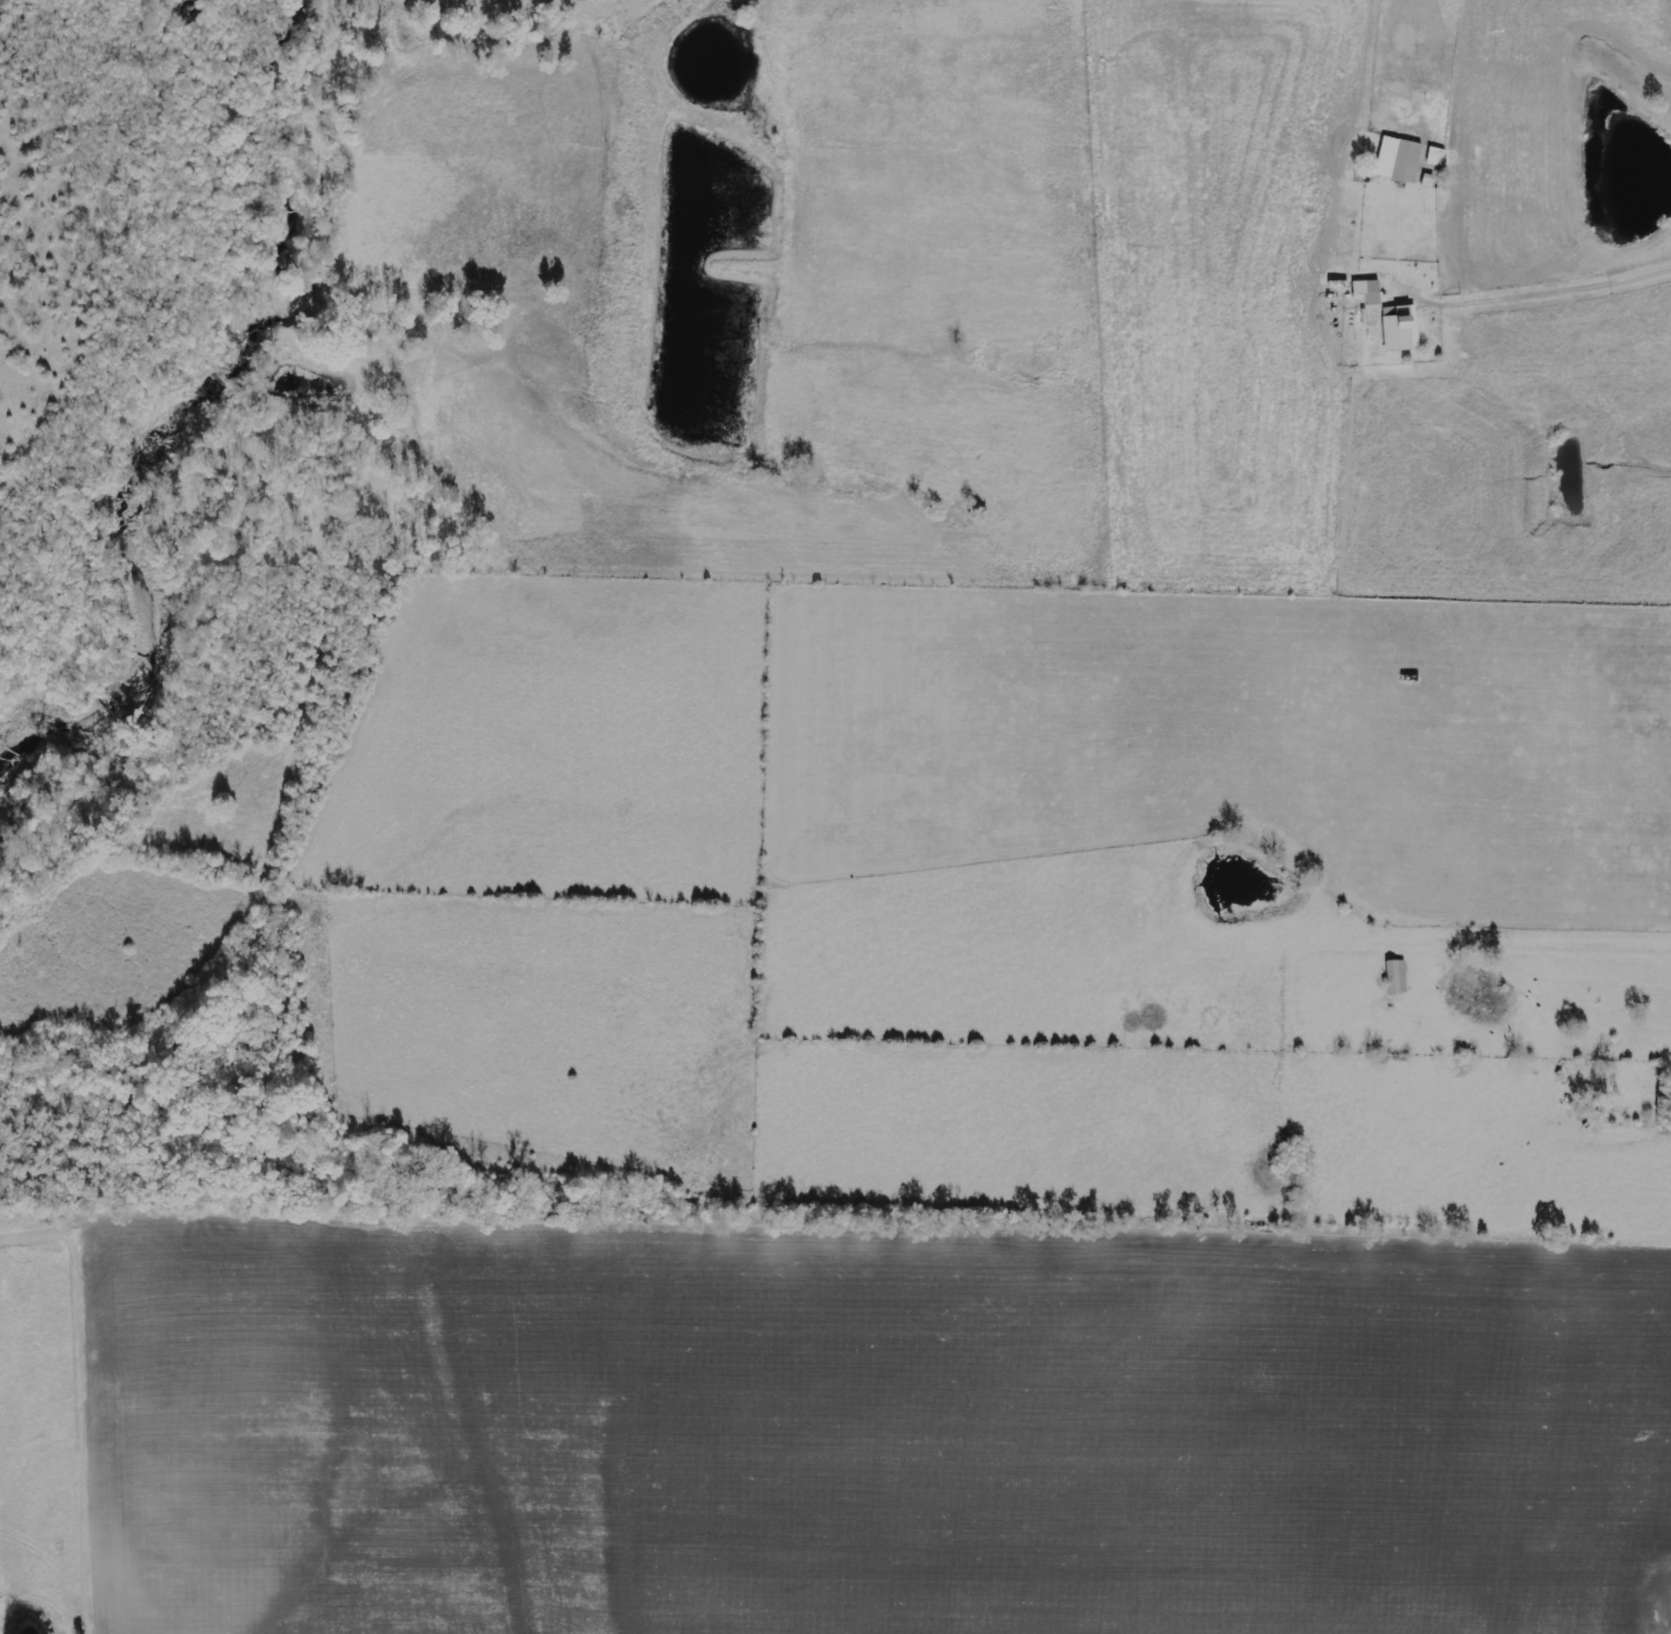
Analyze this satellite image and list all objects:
building: (1397, 160)
building: (1368, 290)
building: (1400, 327)
building: (1395, 976)

